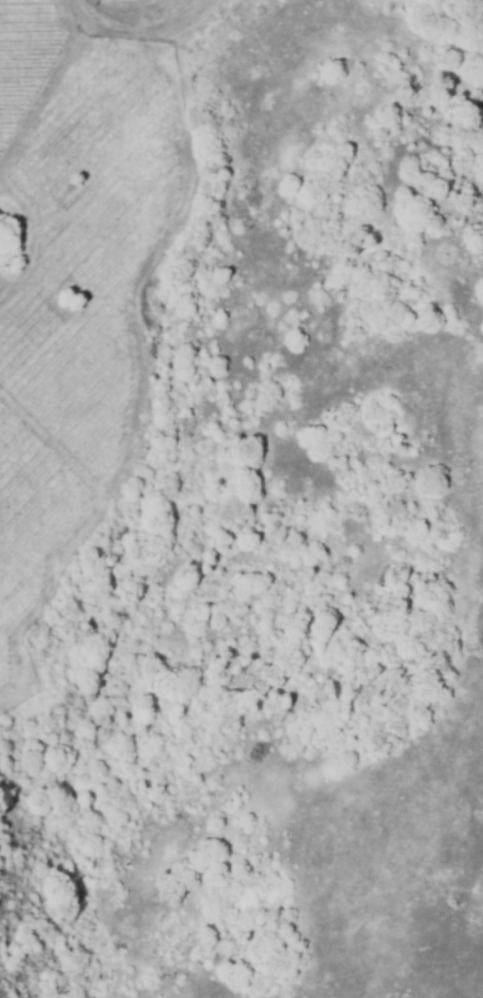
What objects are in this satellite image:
crop: (23, 54)
crop: (86, 255)
crop: (30, 520)

